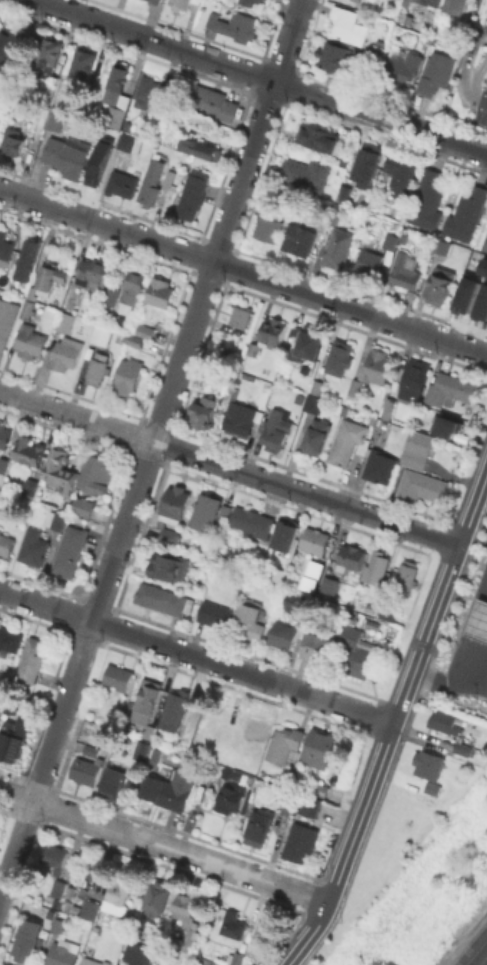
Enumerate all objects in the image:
building: (258, 0)
building: (358, 0)
building: (413, 0)
building: (155, 1)
building: (197, 1)
building: (247, 2)
building: (433, 2)
building: (180, 4)
building: (455, 6)
parking lot: (486, 14)
building: (235, 25)
building: (349, 25)
building: (454, 32)
road: (486, 32)
building: (8, 46)
building: (375, 48)
building: (339, 55)
building: (49, 57)
road: (466, 65)
building: (82, 66)
building: (402, 66)
road: (479, 70)
building: (436, 75)
road: (260, 76)
building: (91, 83)
building: (151, 93)
building: (117, 95)
road: (486, 99)
building: (214, 102)
road: (486, 102)
building: (23, 106)
building: (0, 111)
building: (43, 112)
parking lot: (479, 116)
building: (56, 118)
building: (127, 124)
building: (121, 139)
building: (317, 140)
building: (12, 141)
building: (200, 147)
building: (67, 156)
building: (365, 164)
building: (97, 168)
building: (305, 172)
building: (402, 173)
building: (171, 179)
building: (122, 182)
building: (151, 182)
building: (193, 193)
building: (341, 193)
building: (428, 199)
building: (486, 202)
building: (466, 214)
building: (330, 218)
building: (268, 224)
building: (299, 238)
building: (390, 240)
building: (442, 246)
building: (5, 247)
building: (339, 247)
building: (486, 249)
building: (27, 260)
building: (370, 262)
building: (484, 266)
road: (243, 271)
building: (94, 273)
building: (404, 273)
building: (50, 277)
building: (135, 282)
building: (440, 285)
building: (31, 291)
building: (160, 291)
building: (466, 292)
building: (111, 294)
building: (482, 302)
building: (27, 307)
road: (197, 310)
building: (241, 315)
building: (6, 319)
building: (65, 320)
building: (145, 330)
building: (295, 332)
building: (270, 333)
building: (95, 336)
building: (135, 339)
building: (30, 340)
building: (309, 342)
building: (66, 353)
building: (340, 357)
building: (377, 366)
building: (97, 367)
building: (128, 378)
building: (407, 384)
building: (316, 386)
building: (355, 387)
building: (451, 388)
building: (314, 403)
building: (208, 416)
building: (241, 420)
building: (277, 429)
building: (453, 429)
building: (5, 435)
building: (318, 439)
building: (347, 443)
building: (416, 449)
building: (32, 453)
building: (4, 467)
road: (230, 467)
building: (379, 468)
building: (62, 471)
building: (100, 475)
building: (420, 486)
building: (31, 488)
building: (85, 508)
road: (474, 508)
building: (222, 511)
building: (207, 512)
building: (226, 512)
building: (173, 516)
building: (56, 520)
building: (252, 521)
building: (285, 536)
parking lot: (484, 538)
building: (315, 541)
building: (6, 544)
building: (34, 548)
building: (71, 551)
building: (352, 557)
building: (172, 568)
building: (377, 568)
building: (318, 571)
building: (408, 575)
building: (278, 578)
building: (330, 585)
building: (164, 599)
building: (296, 602)
building: (388, 614)
building: (215, 615)
building: (478, 619)
gas station: (478, 619)
building: (251, 620)
building: (283, 636)
building: (10, 639)
road: (426, 639)
building: (320, 646)
building: (357, 653)
road: (197, 656)
building: (33, 660)
building: (119, 677)
road: (451, 678)
building: (147, 699)
building: (175, 710)
building: (446, 722)
building: (255, 733)
building: (225, 735)
building: (286, 745)
building: (12, 746)
building: (460, 748)
building: (138, 749)
building: (320, 749)
building: (92, 750)
road: (45, 759)
building: (426, 764)
building: (86, 771)
building: (116, 783)
building: (430, 787)
building: (319, 789)
building: (166, 792)
building: (231, 799)
building: (304, 805)
road: (360, 817)
building: (259, 825)
building: (301, 843)
road: (165, 846)
building: (58, 868)
building: (119, 897)
building: (159, 898)
building: (76, 905)
building: (91, 910)
building: (189, 921)
building: (59, 925)
building: (235, 925)
road: (311, 935)
building: (262, 936)
railway: (468, 942)
building: (25, 947)
railway: (474, 950)
building: (62, 954)
building: (140, 954)
railway: (480, 957)
building: (236, 958)
building: (93, 961)
railway: (486, 964)

